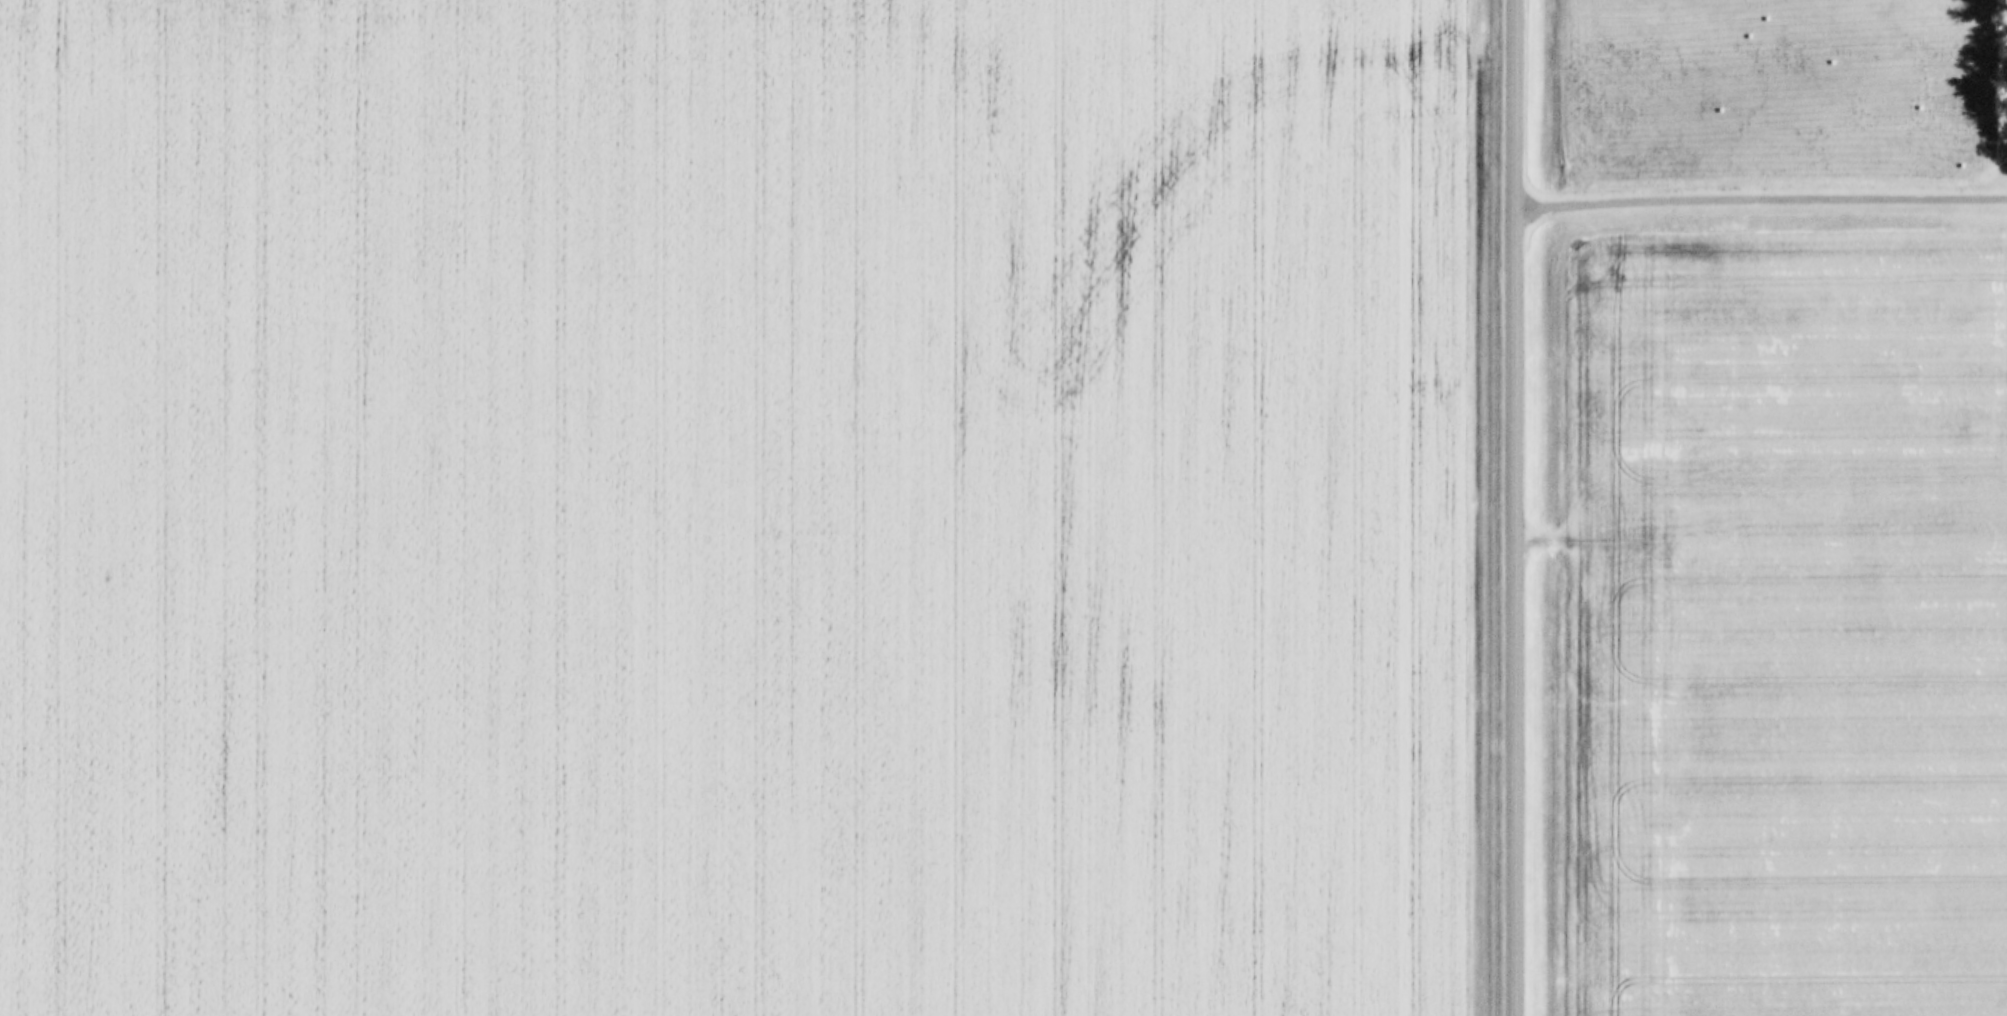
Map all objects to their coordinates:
road: (1760, 199)
road: (1515, 507)

